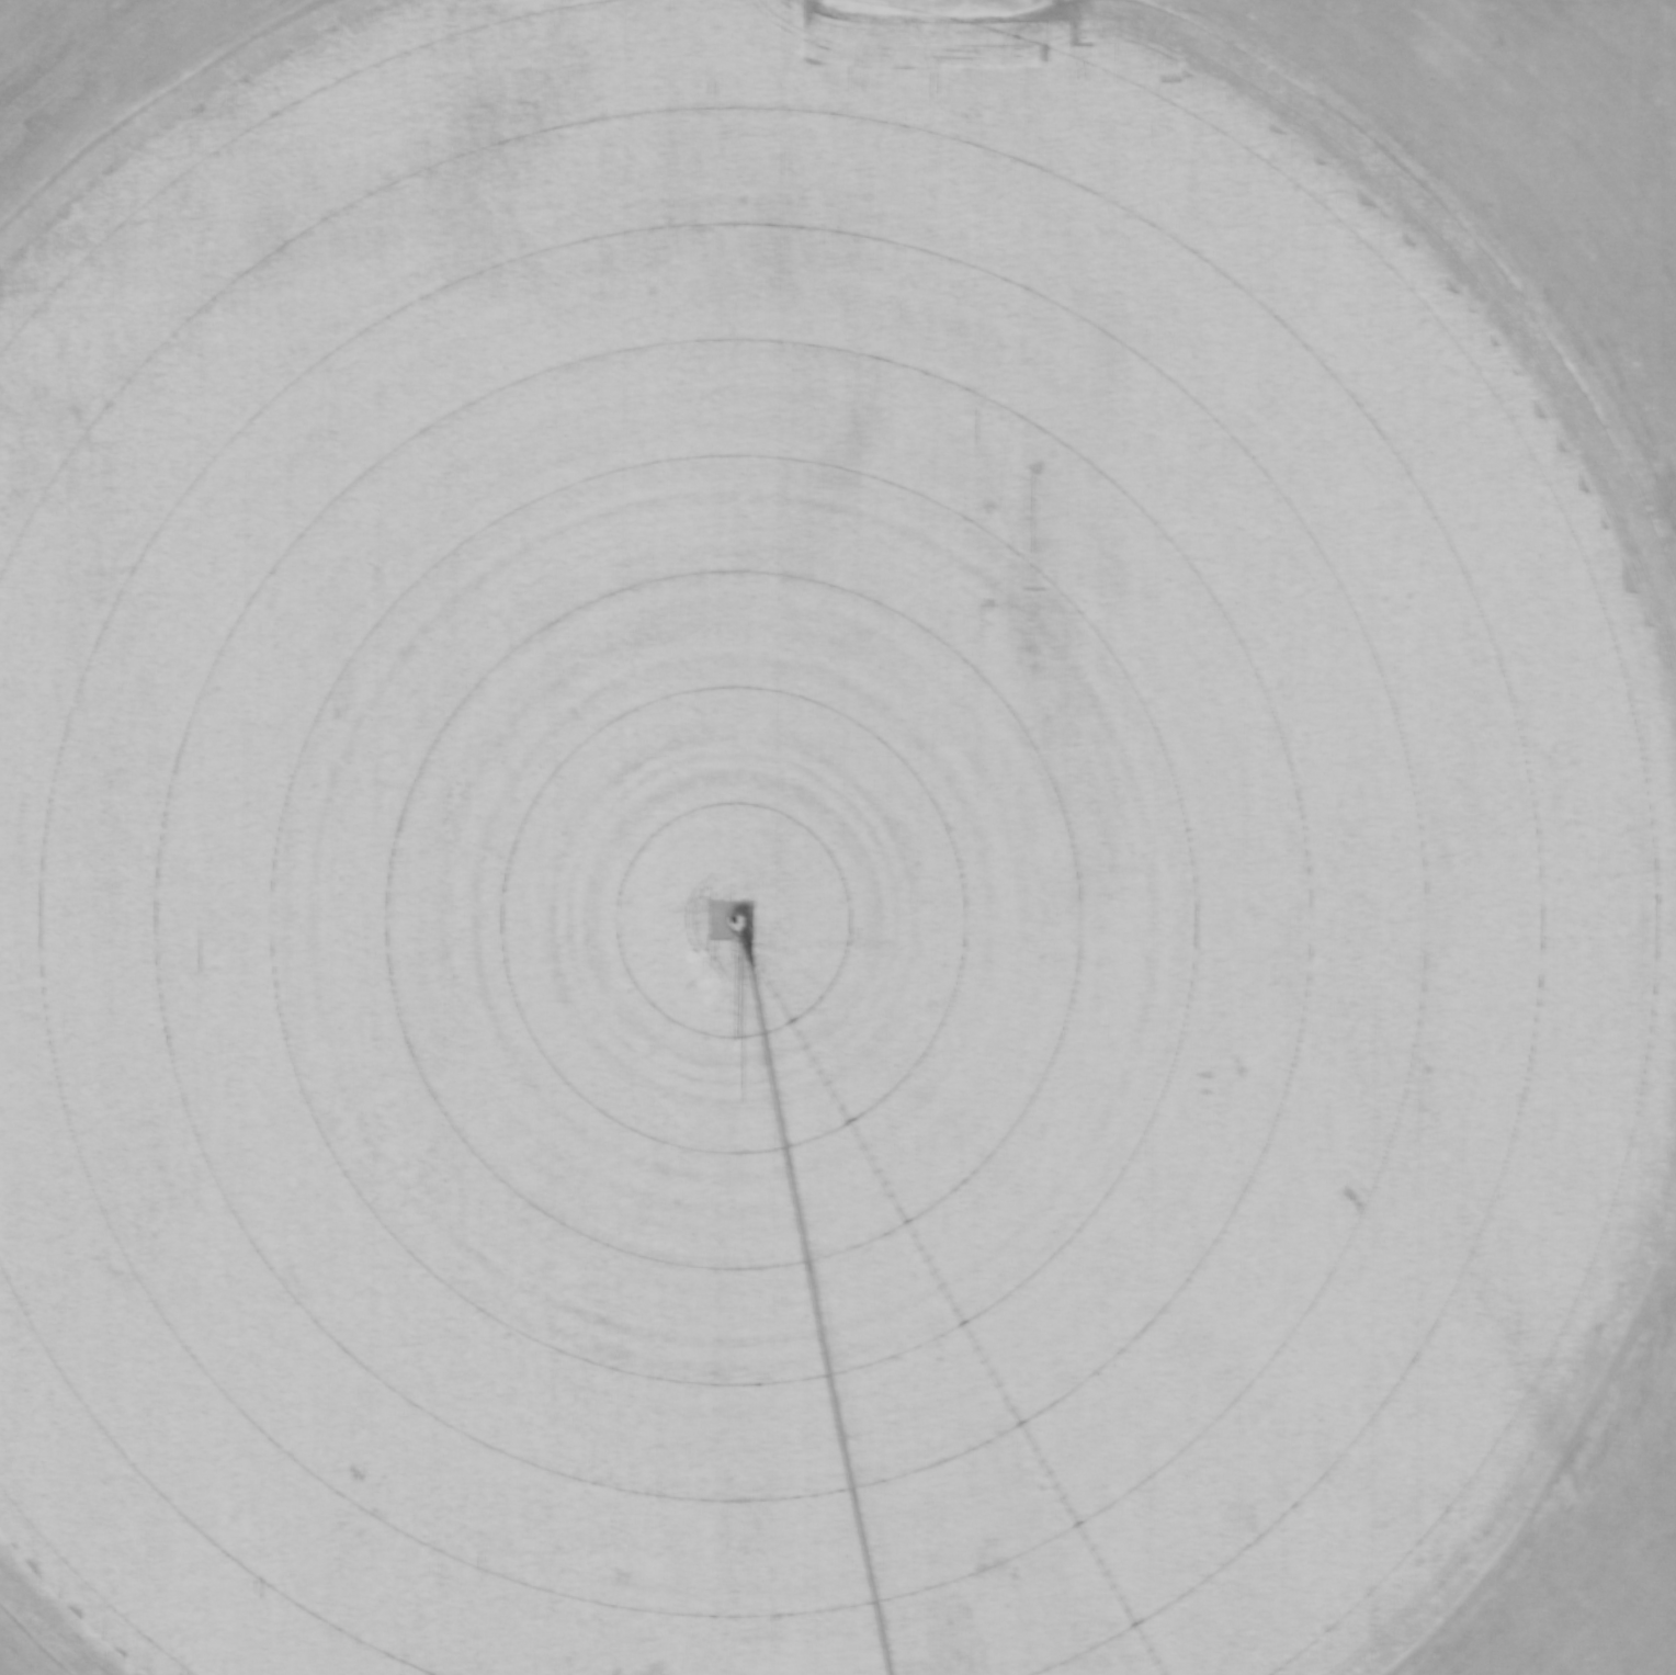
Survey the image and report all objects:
crop: (837, 838)

